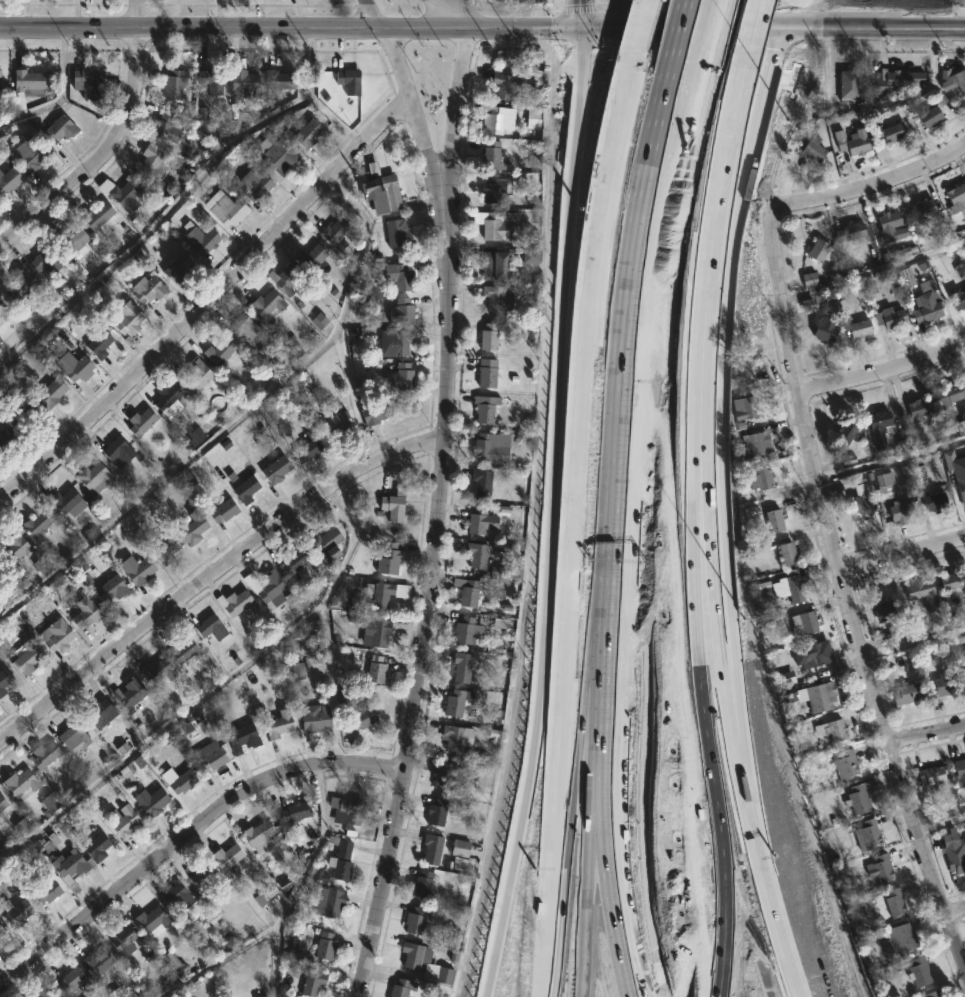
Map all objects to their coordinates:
road: (451, 12)
road: (580, 12)
road: (613, 12)
road: (374, 14)
road: (480, 25)
traffic signals: (580, 25)
road: (681, 26)
road: (191, 28)
road: (873, 29)
road: (640, 38)
road: (748, 39)
road: (710, 43)
road: (775, 55)
building: (24, 80)
building: (211, 80)
building: (278, 80)
building: (346, 80)
building: (895, 80)
building: (952, 80)
building: (85, 82)
building: (243, 84)
building: (506, 84)
building: (847, 84)
building: (176, 85)
road: (455, 111)
building: (928, 117)
building: (493, 118)
building: (533, 120)
road: (421, 123)
building: (57, 128)
building: (165, 128)
building: (305, 133)
road: (757, 133)
building: (886, 133)
building: (853, 142)
road: (109, 143)
building: (812, 149)
building: (25, 153)
building: (491, 156)
building: (277, 157)
road: (682, 158)
building: (150, 161)
road: (721, 163)
building: (9, 180)
building: (253, 185)
building: (490, 189)
road: (862, 189)
building: (378, 191)
building: (121, 195)
building: (955, 198)
building: (223, 208)
building: (922, 208)
building: (96, 217)
building: (886, 224)
building: (489, 225)
building: (333, 230)
building: (848, 232)
building: (393, 233)
road: (593, 234)
building: (64, 238)
building: (198, 238)
building: (816, 251)
building: (309, 257)
building: (42, 260)
building: (492, 266)
building: (175, 268)
building: (397, 276)
building: (907, 277)
building: (283, 278)
building: (18, 286)
building: (146, 289)
building: (494, 297)
building: (956, 298)
road: (209, 301)
road: (707, 303)
building: (928, 303)
building: (265, 306)
building: (399, 313)
building: (3, 314)
building: (892, 315)
building: (126, 318)
building: (240, 327)
building: (858, 329)
building: (823, 331)
building: (487, 337)
building: (396, 339)
building: (97, 345)
building: (216, 353)
building: (72, 366)
road: (563, 368)
road: (883, 371)
building: (487, 373)
building: (195, 376)
building: (398, 378)
building: (48, 392)
building: (164, 398)
building: (950, 398)
building: (919, 406)
road: (649, 407)
building: (743, 408)
building: (483, 409)
building: (374, 413)
building: (29, 414)
road: (233, 417)
building: (877, 419)
building: (138, 422)
building: (960, 423)
building: (335, 424)
building: (844, 432)
building: (8, 436)
building: (756, 443)
building: (483, 446)
building: (308, 447)
building: (115, 453)
building: (273, 470)
building: (91, 478)
building: (759, 480)
building: (481, 483)
building: (883, 485)
building: (961, 487)
building: (243, 490)
building: (860, 497)
building: (63, 502)
building: (933, 502)
building: (391, 507)
building: (899, 510)
building: (221, 511)
building: (480, 520)
building: (773, 521)
building: (36, 524)
building: (192, 527)
road: (726, 532)
building: (324, 544)
building: (760, 545)
road: (584, 547)
building: (12, 548)
building: (163, 551)
road: (901, 553)
building: (383, 554)
building: (785, 554)
building: (475, 555)
building: (292, 562)
building: (41, 567)
building: (2, 570)
building: (135, 570)
building: (502, 570)
road: (213, 576)
building: (949, 581)
building: (270, 584)
building: (109, 588)
building: (788, 589)
building: (385, 592)
building: (465, 592)
building: (921, 594)
road: (846, 599)
building: (232, 601)
building: (884, 610)
building: (84, 612)
road: (426, 613)
road: (623, 613)
road: (324, 619)
road: (715, 620)
building: (797, 621)
building: (208, 626)
building: (376, 631)
building: (463, 631)
building: (55, 635)
road: (914, 643)
building: (180, 649)
building: (810, 654)
building: (25, 657)
building: (961, 658)
building: (460, 667)
building: (374, 669)
building: (154, 670)
building: (297, 671)
road: (693, 676)
building: (963, 677)
building: (3, 678)
building: (784, 678)
building: (942, 685)
building: (128, 693)
building: (905, 693)
building: (791, 695)
building: (819, 695)
road: (557, 696)
building: (343, 699)
building: (452, 703)
building: (99, 712)
building: (312, 717)
building: (360, 717)
building: (276, 723)
road: (161, 729)
building: (831, 729)
road: (926, 734)
building: (453, 736)
building: (240, 737)
building: (70, 738)
building: (42, 754)
building: (210, 758)
building: (844, 763)
building: (959, 772)
building: (932, 774)
building: (442, 775)
building: (18, 781)
building: (180, 781)
road: (685, 790)
road: (587, 792)
building: (857, 798)
building: (149, 800)
building: (1, 803)
building: (50, 803)
building: (344, 809)
building: (293, 811)
building: (435, 811)
building: (121, 820)
road: (941, 824)
building: (22, 827)
road: (185, 834)
building: (866, 834)
building: (256, 836)
building: (96, 847)
building: (430, 848)
building: (459, 848)
building: (953, 851)
road: (518, 854)
building: (225, 855)
building: (338, 858)
building: (461, 864)
building: (69, 866)
building: (879, 868)
building: (199, 873)
building: (319, 876)
road: (299, 880)
building: (419, 885)
building: (44, 892)
building: (265, 895)
building: (174, 896)
building: (327, 902)
building: (894, 902)
road: (955, 910)
building: (14, 912)
building: (149, 919)
building: (413, 920)
building: (0, 930)
building: (122, 939)
road: (775, 939)
building: (899, 940)
road: (593, 942)
building: (322, 946)
road: (216, 960)
building: (95, 962)
building: (178, 963)
building: (423, 963)
building: (917, 972)
building: (72, 982)
building: (311, 983)
building: (400, 988)
building: (43, 993)
building: (931, 994)
building: (261, 996)

